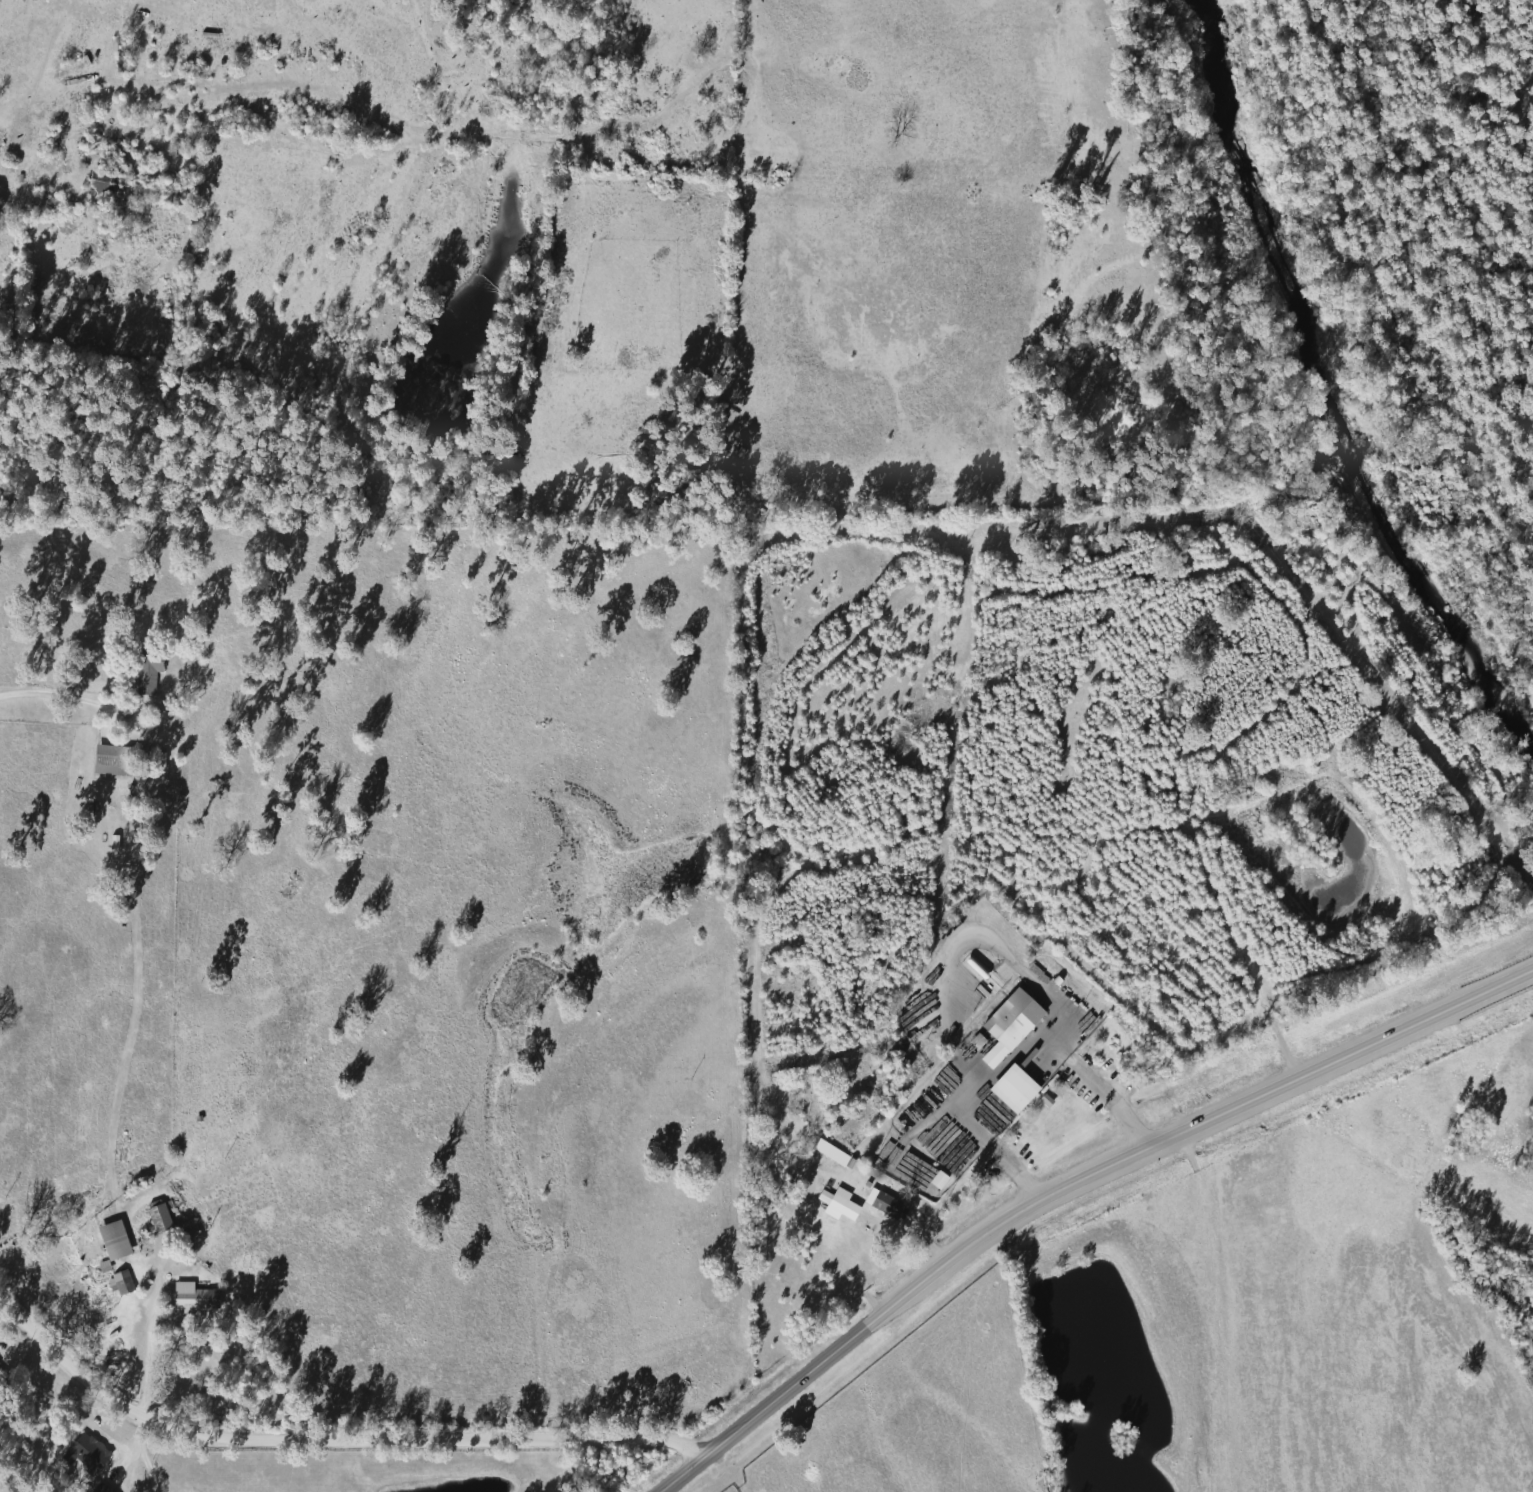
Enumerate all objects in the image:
building: (99, 182)
building: (144, 671)
road: (63, 689)
building: (104, 759)
building: (1008, 1020)
building: (1008, 1090)
road: (1063, 1176)
building: (883, 1205)
building: (155, 1218)
building: (109, 1240)
building: (119, 1283)
building: (189, 1297)
road: (329, 1437)
building: (87, 1452)

